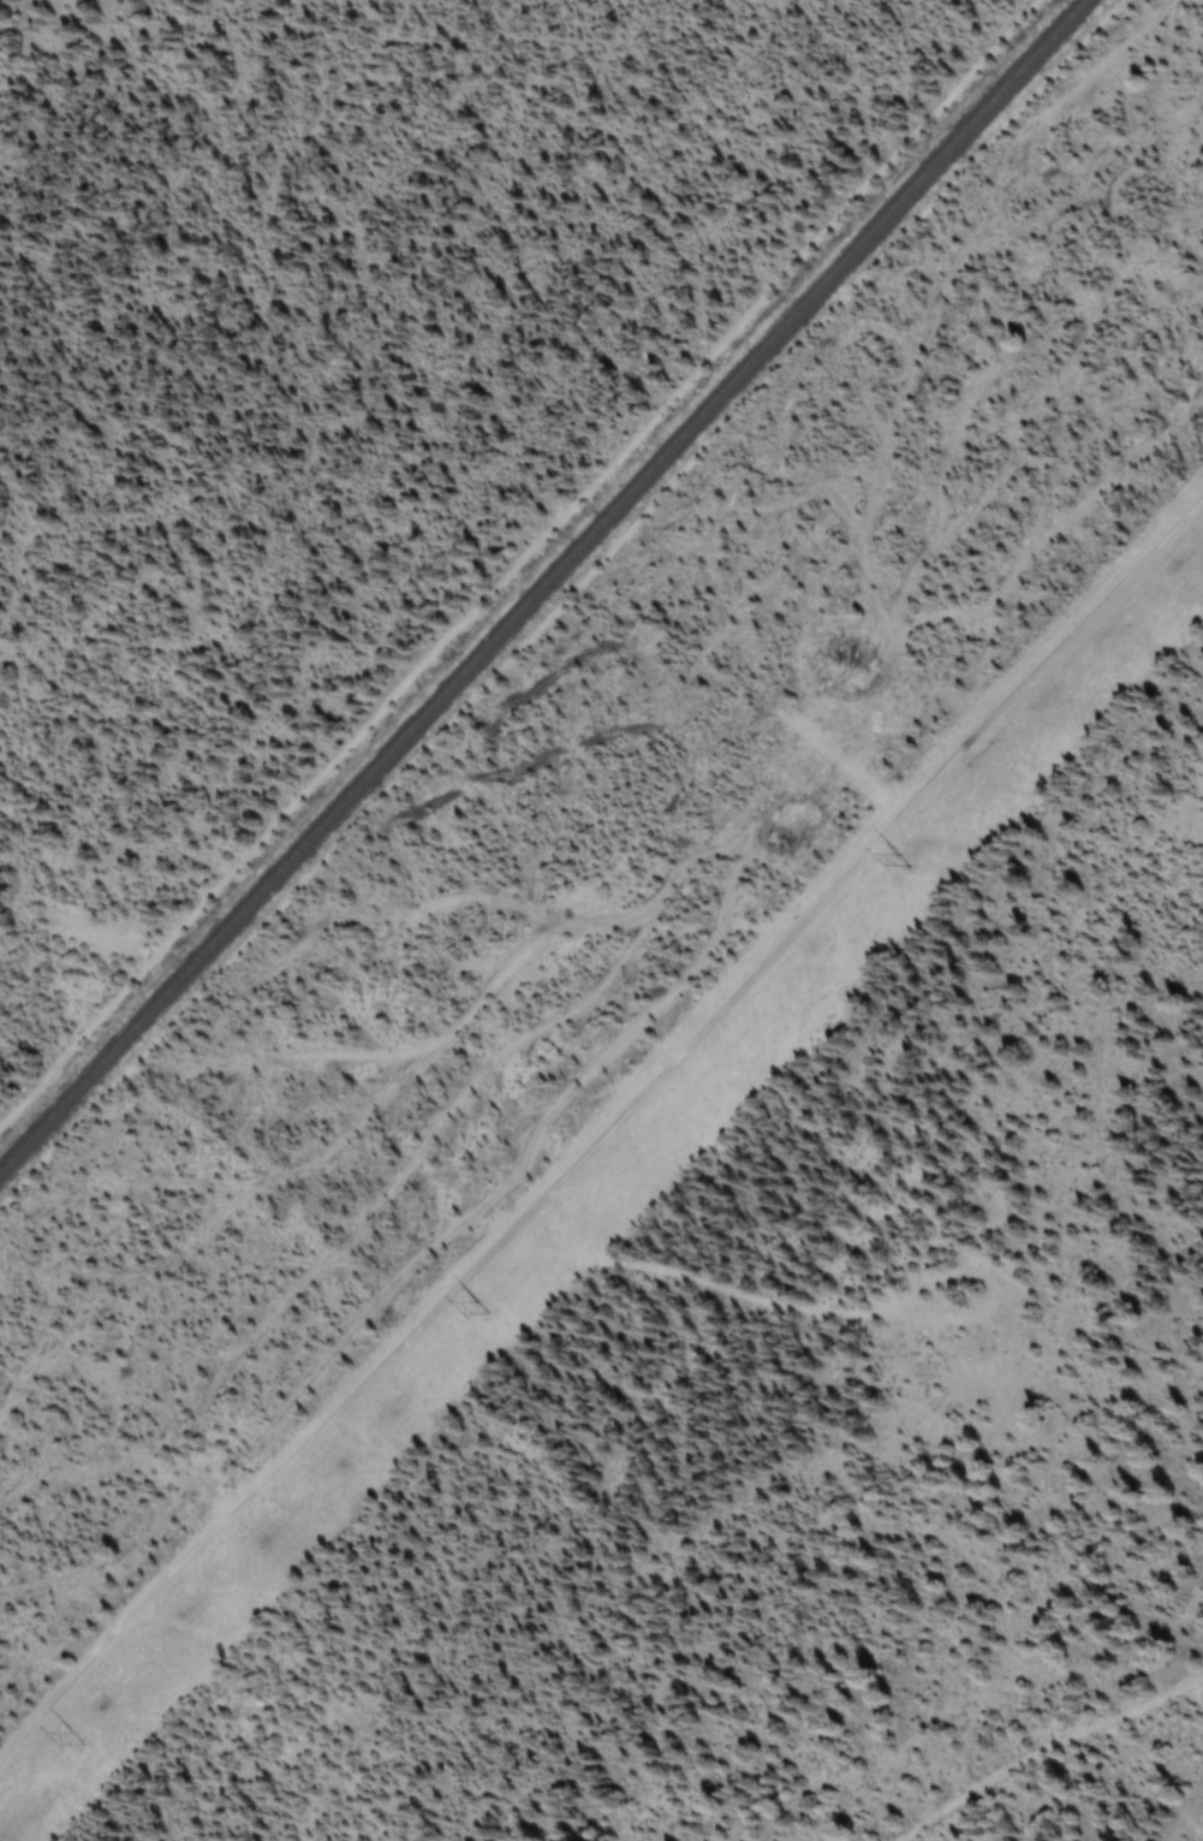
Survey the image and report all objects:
road: (522, 564)
railway: (543, 589)
road: (612, 1166)

